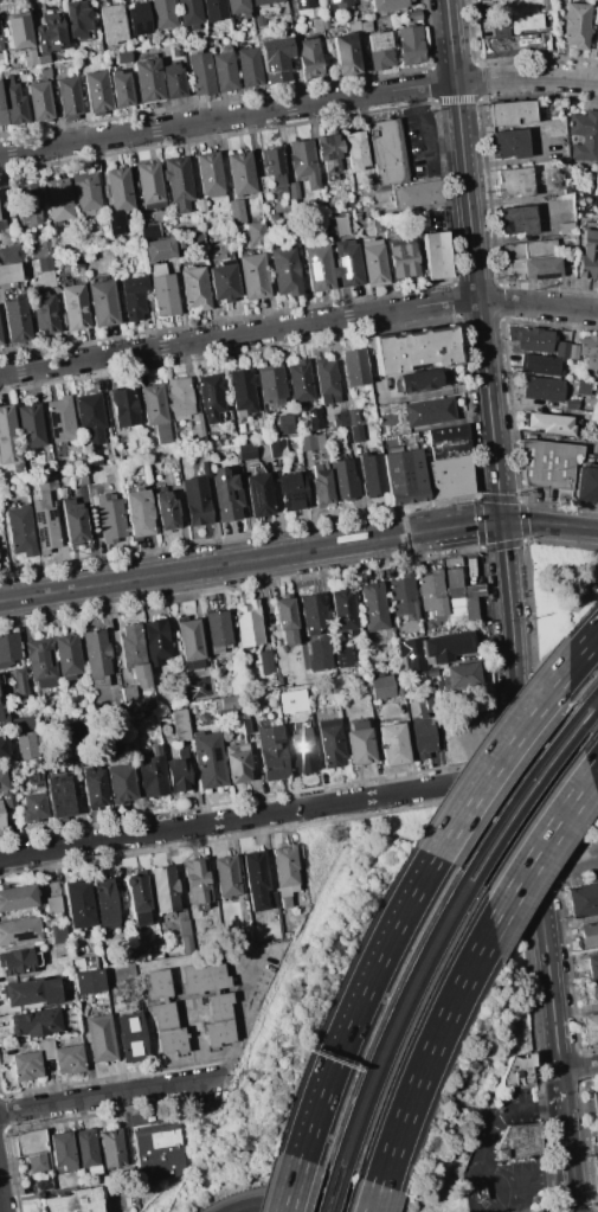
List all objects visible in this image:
building: (480, 0)
building: (263, 2)
building: (339, 2)
building: (302, 4)
building: (386, 4)
building: (238, 7)
building: (213, 9)
building: (189, 13)
building: (162, 14)
building: (596, 14)
building: (411, 15)
building: (77, 19)
building: (137, 19)
building: (259, 20)
building: (526, 21)
building: (110, 24)
building: (316, 25)
building: (576, 25)
building: (365, 26)
building: (500, 26)
building: (18, 30)
building: (53, 30)
building: (353, 30)
building: (285, 32)
building: (0, 33)
building: (514, 43)
building: (410, 45)
building: (597, 45)
building: (379, 50)
building: (345, 53)
building: (122, 56)
building: (309, 57)
building: (28, 58)
building: (274, 62)
building: (249, 66)
building: (223, 69)
building: (45, 72)
building: (200, 73)
building: (147, 81)
building: (173, 81)
building: (120, 89)
building: (96, 91)
building: (69, 97)
building: (39, 101)
building: (13, 102)
road: (297, 105)
building: (2, 109)
building: (548, 110)
building: (512, 113)
building: (584, 135)
road: (425, 136)
building: (509, 143)
building: (329, 152)
building: (355, 152)
building: (386, 152)
building: (597, 156)
building: (303, 162)
building: (272, 168)
building: (240, 173)
building: (208, 174)
building: (176, 181)
building: (514, 181)
building: (149, 184)
building: (259, 185)
building: (118, 190)
building: (292, 190)
building: (85, 193)
building: (417, 194)
building: (57, 199)
building: (26, 205)
building: (236, 210)
building: (2, 213)
road: (547, 214)
building: (272, 216)
building: (386, 220)
building: (517, 220)
building: (114, 222)
building: (377, 224)
building: (566, 227)
building: (148, 231)
building: (255, 232)
building: (194, 239)
building: (37, 249)
building: (159, 249)
building: (11, 254)
building: (586, 254)
building: (435, 255)
building: (401, 257)
building: (76, 259)
building: (533, 259)
road: (474, 261)
building: (373, 262)
building: (347, 263)
building: (44, 264)
building: (317, 268)
building: (284, 270)
building: (13, 271)
building: (597, 272)
building: (252, 276)
building: (223, 281)
building: (194, 288)
building: (162, 291)
building: (133, 296)
building: (102, 303)
building: (73, 307)
building: (43, 314)
building: (14, 320)
road: (298, 326)
building: (0, 339)
building: (534, 340)
building: (587, 346)
building: (413, 351)
building: (561, 351)
building: (572, 352)
building: (539, 365)
building: (355, 367)
building: (326, 380)
building: (418, 380)
building: (300, 381)
building: (271, 387)
building: (542, 389)
building: (242, 390)
road: (424, 392)
building: (211, 396)
building: (179, 398)
building: (571, 404)
building: (123, 406)
building: (154, 411)
building: (427, 412)
building: (90, 417)
building: (347, 418)
building: (59, 419)
building: (282, 423)
building: (548, 423)
building: (316, 424)
building: (30, 425)
building: (393, 430)
building: (197, 431)
building: (355, 434)
building: (7, 436)
building: (310, 442)
building: (448, 442)
building: (385, 447)
building: (276, 448)
building: (245, 451)
building: (548, 466)
building: (17, 469)
building: (372, 475)
building: (86, 476)
building: (403, 476)
building: (449, 476)
building: (343, 480)
building: (586, 485)
building: (320, 488)
building: (4, 490)
building: (291, 492)
building: (257, 494)
building: (226, 495)
building: (194, 501)
building: (165, 511)
building: (136, 512)
building: (44, 515)
building: (109, 518)
building: (72, 521)
traffic signals: (501, 522)
road: (549, 522)
building: (20, 531)
road: (250, 559)
building: (454, 577)
building: (431, 592)
building: (401, 597)
building: (461, 597)
building: (372, 607)
building: (342, 610)
building: (310, 613)
building: (285, 620)
building: (249, 623)
building: (217, 630)
building: (155, 641)
building: (189, 643)
building: (8, 649)
road: (581, 649)
building: (433, 650)
building: (96, 653)
building: (133, 653)
building: (319, 653)
building: (66, 656)
building: (340, 656)
building: (40, 662)
building: (265, 662)
building: (461, 676)
building: (0, 680)
building: (277, 680)
building: (19, 682)
building: (381, 687)
building: (199, 688)
building: (128, 693)
building: (284, 697)
railway: (589, 697)
building: (226, 701)
railway: (594, 712)
building: (320, 713)
building: (21, 722)
building: (245, 722)
building: (1, 723)
building: (179, 725)
building: (423, 737)
building: (330, 743)
building: (359, 743)
building: (393, 744)
building: (26, 746)
building: (4, 748)
building: (155, 751)
building: (272, 752)
building: (304, 756)
road: (495, 758)
building: (208, 761)
building: (236, 767)
road: (594, 771)
building: (178, 775)
building: (150, 777)
building: (2, 780)
building: (34, 781)
building: (120, 784)
building: (92, 789)
railway: (519, 789)
building: (59, 797)
railway: (529, 797)
road: (532, 799)
building: (8, 801)
building: (34, 807)
road: (264, 813)
building: (1, 817)
road: (539, 849)
building: (297, 857)
building: (284, 866)
road: (568, 868)
building: (226, 877)
building: (256, 878)
building: (197, 881)
building: (163, 889)
building: (287, 890)
building: (137, 894)
building: (17, 897)
building: (274, 899)
building: (104, 900)
building: (583, 900)
building: (284, 902)
building: (53, 904)
building: (78, 904)
building: (184, 928)
building: (19, 930)
building: (58, 934)
building: (589, 935)
building: (186, 944)
building: (18, 962)
building: (592, 964)
building: (88, 981)
building: (207, 986)
building: (50, 990)
building: (22, 992)
building: (593, 994)
building: (149, 999)
road: (356, 1002)
road: (239, 1013)
railway: (391, 1013)
railway: (404, 1019)
building: (36, 1024)
building: (590, 1031)
building: (218, 1032)
building: (101, 1038)
building: (131, 1038)
building: (171, 1040)
road: (429, 1053)
building: (69, 1059)
building: (26, 1066)
building: (517, 1070)
road: (580, 1072)
road: (562, 1080)
road: (108, 1096)
building: (594, 1103)
road: (486, 1139)
building: (30, 1141)
building: (519, 1141)
building: (85, 1148)
building: (112, 1148)
road: (570, 1148)
building: (62, 1150)
building: (159, 1150)
building: (597, 1155)
building: (37, 1163)
road: (540, 1176)
building: (41, 1184)
road: (289, 1184)
railway: (327, 1186)
railway: (340, 1187)
building: (478, 1191)
road: (375, 1198)
road: (1, 1200)
building: (71, 1201)
road: (282, 1201)
road: (1, 1205)

